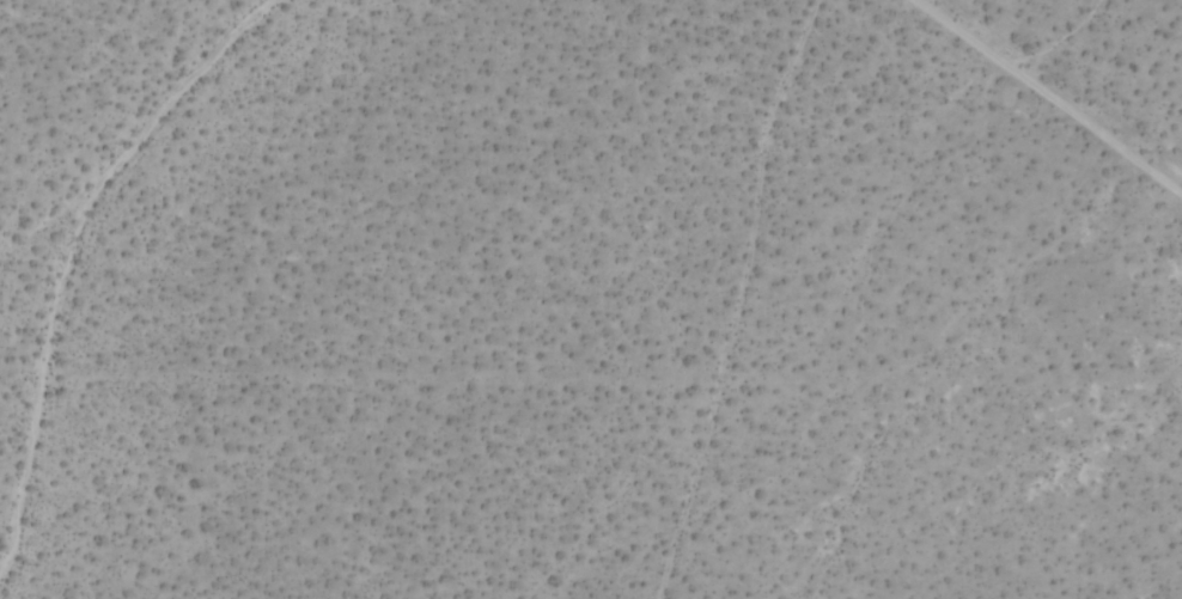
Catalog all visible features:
road: (1046, 99)

